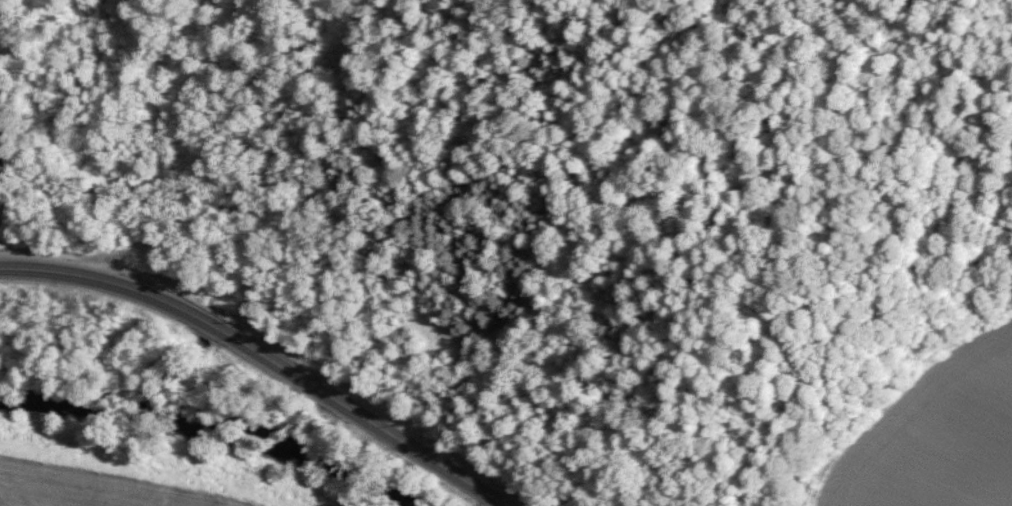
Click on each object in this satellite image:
road: (266, 355)

